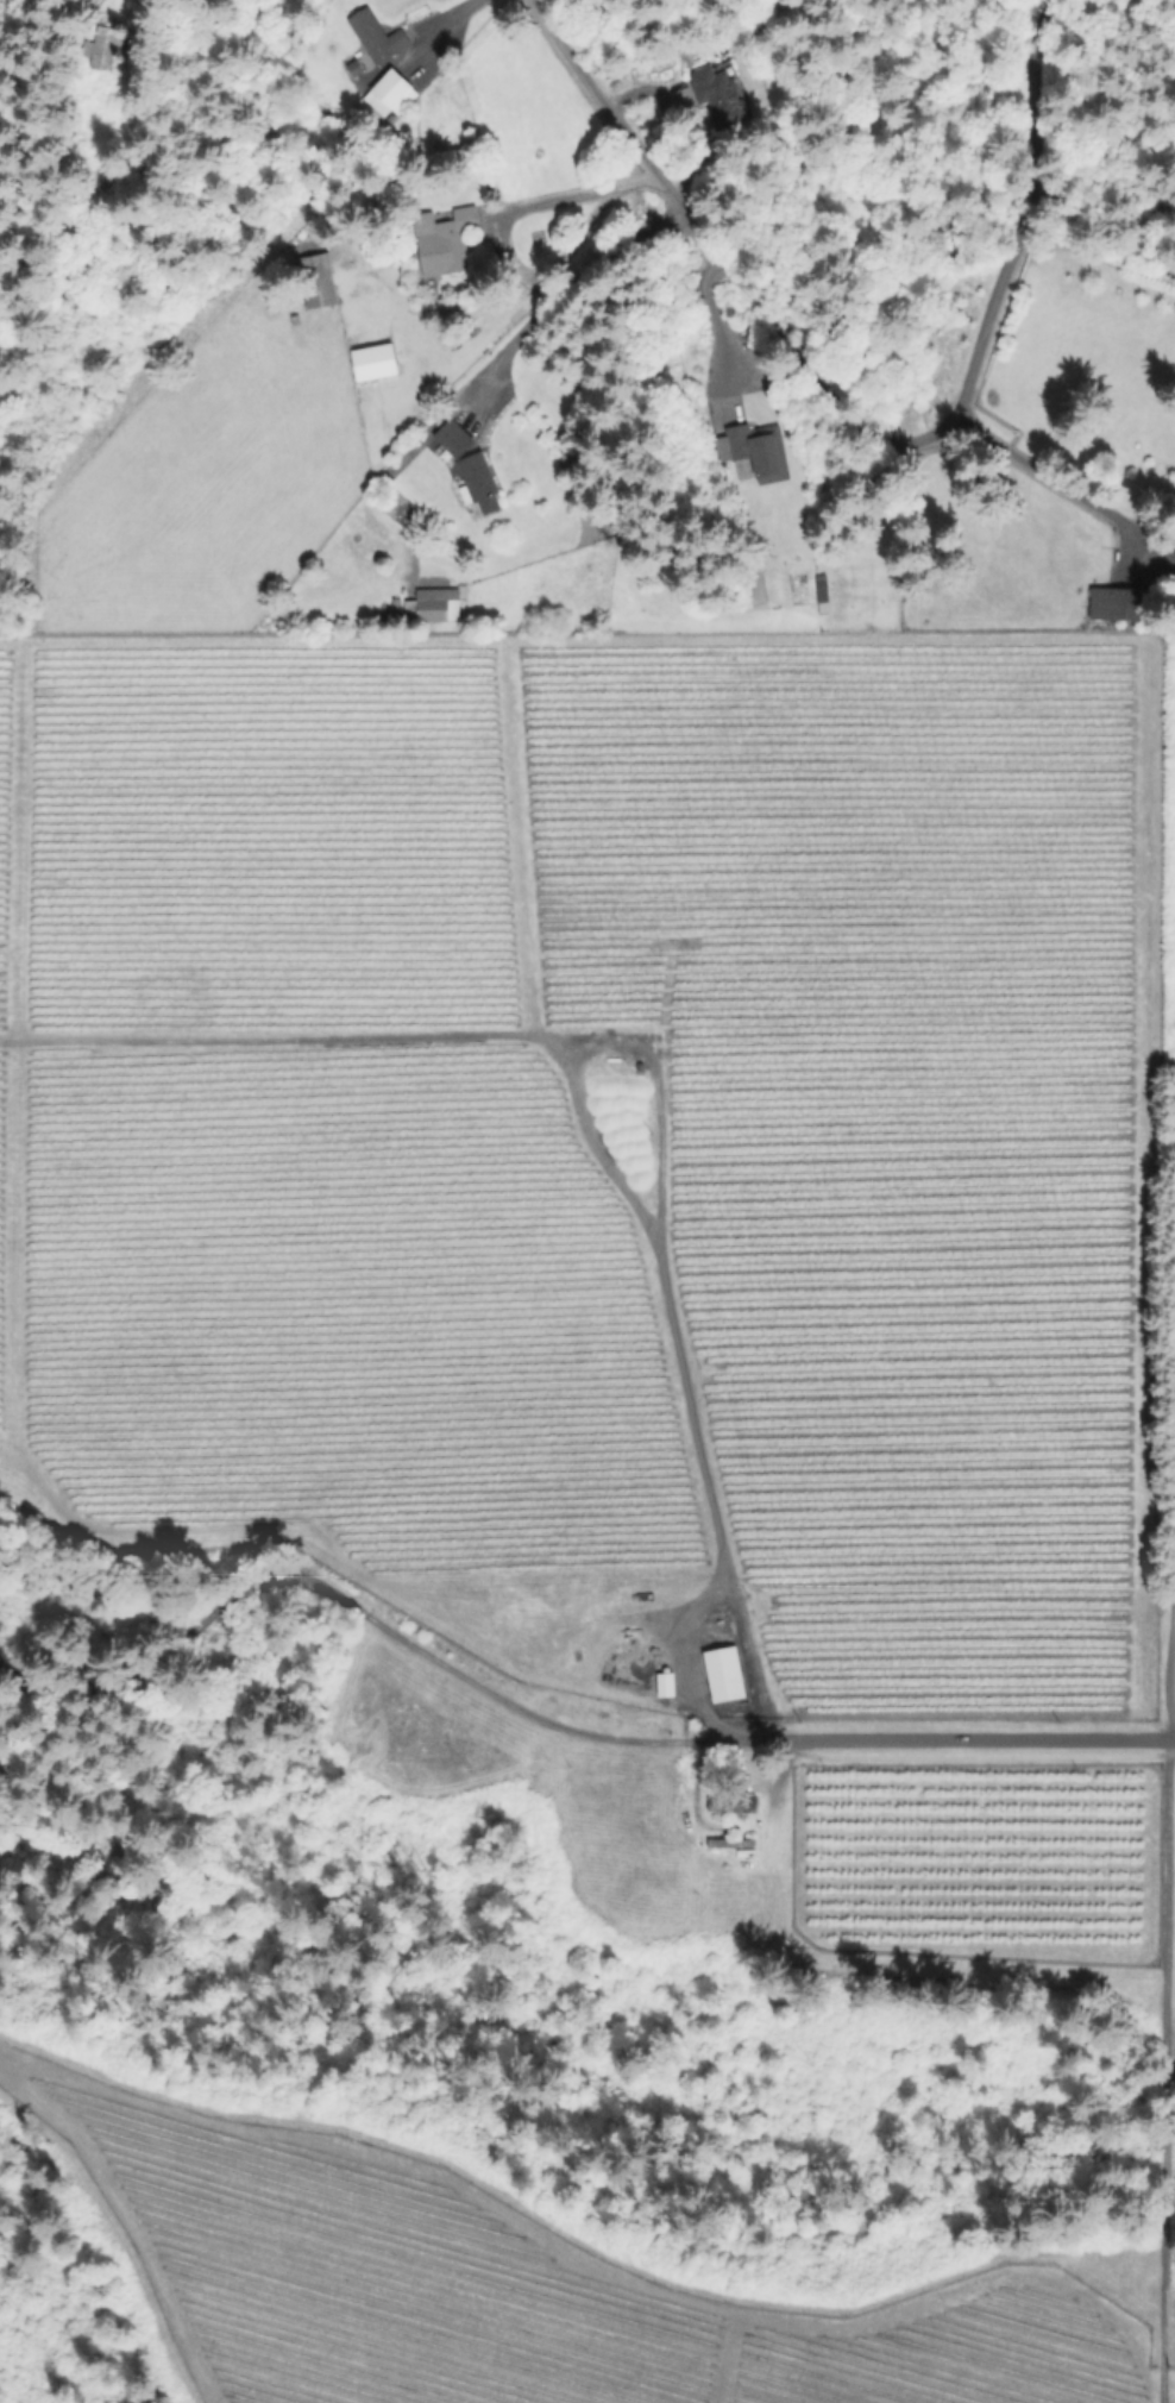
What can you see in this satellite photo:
road: (105, 6)
road: (439, 30)
building: (377, 37)
building: (105, 49)
building: (389, 93)
building: (722, 94)
road: (495, 230)
building: (448, 244)
building: (318, 289)
road: (570, 289)
road: (853, 433)
building: (455, 439)
building: (756, 451)
road: (1055, 482)
building: (480, 483)
building: (759, 585)
building: (824, 594)
building: (1117, 603)
building: (435, 604)
building: (607, 1102)
road: (1171, 1418)
road: (700, 1497)
road: (578, 1698)
building: (733, 1843)
road: (1174, 2305)

